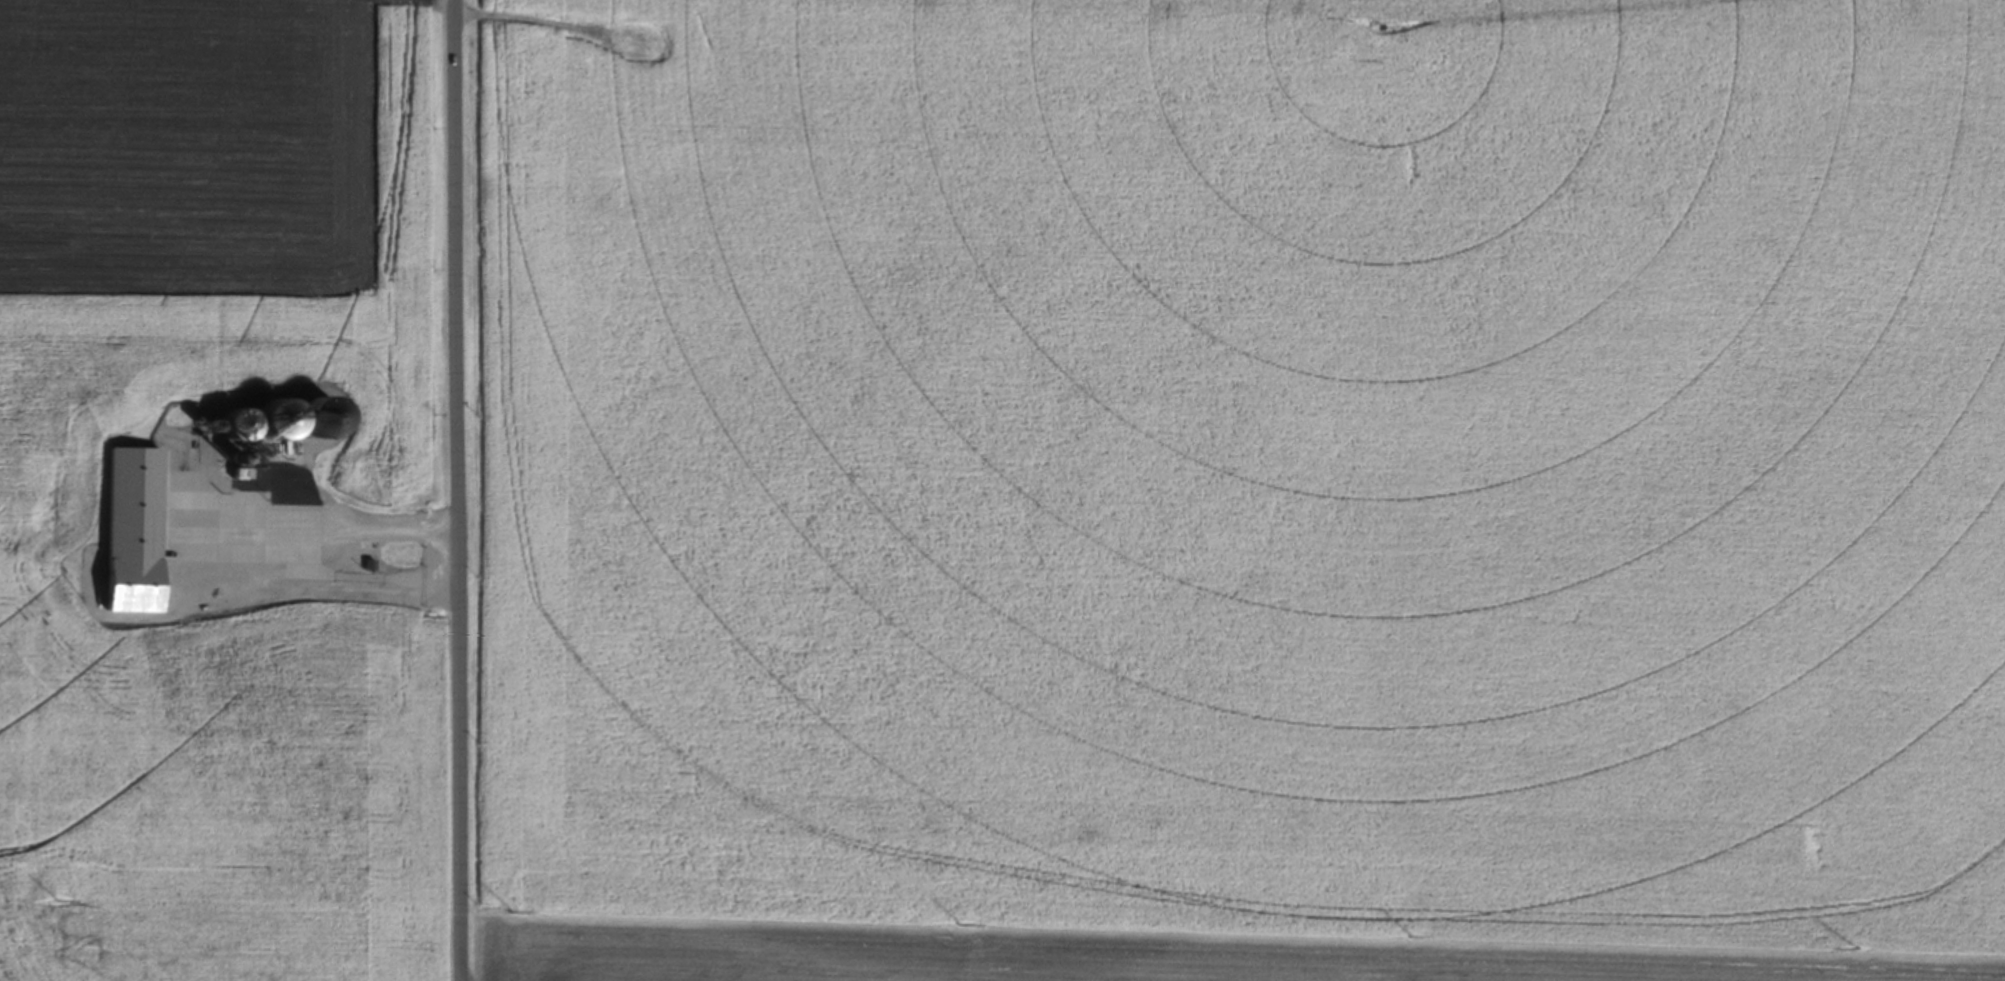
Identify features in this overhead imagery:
building: (675, 43)
building: (313, 416)
building: (241, 427)
road: (458, 490)
power tower: (53, 897)
power tower: (512, 909)
power tower: (960, 920)
power tower: (1412, 931)
power tower: (1859, 946)

